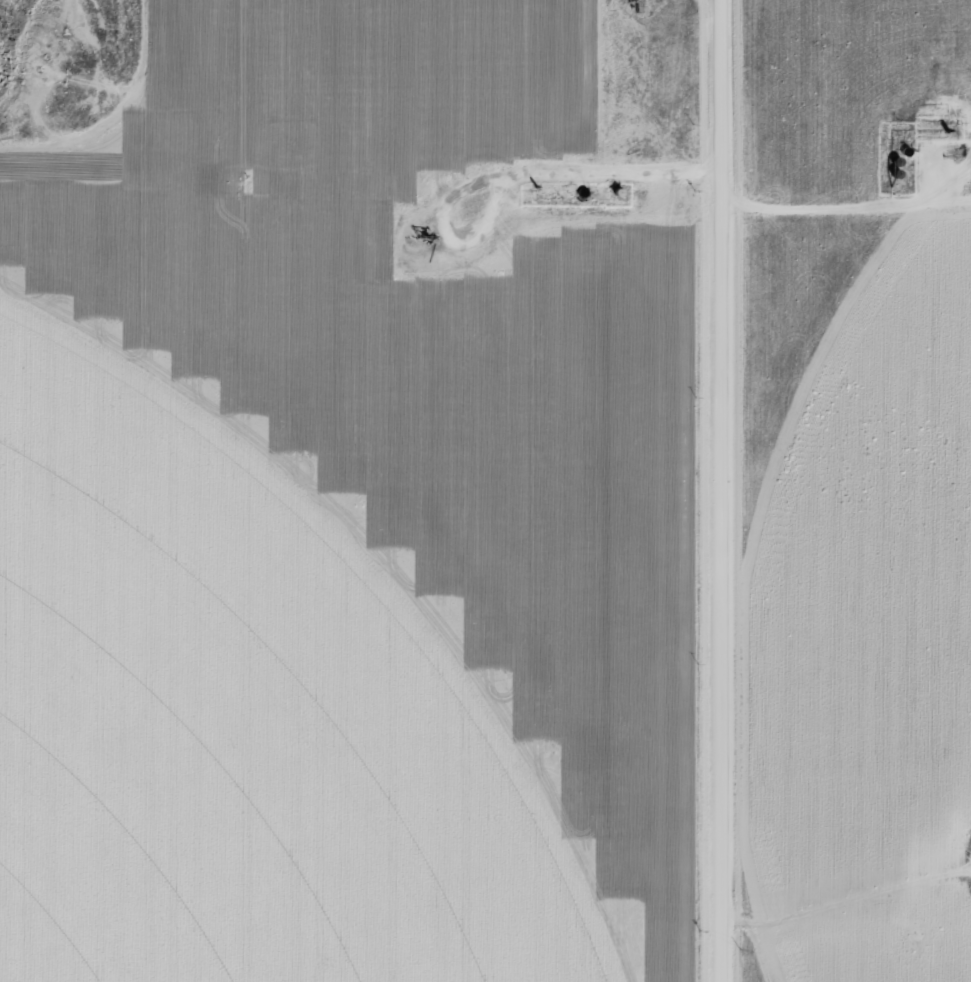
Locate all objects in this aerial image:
road: (730, 491)

